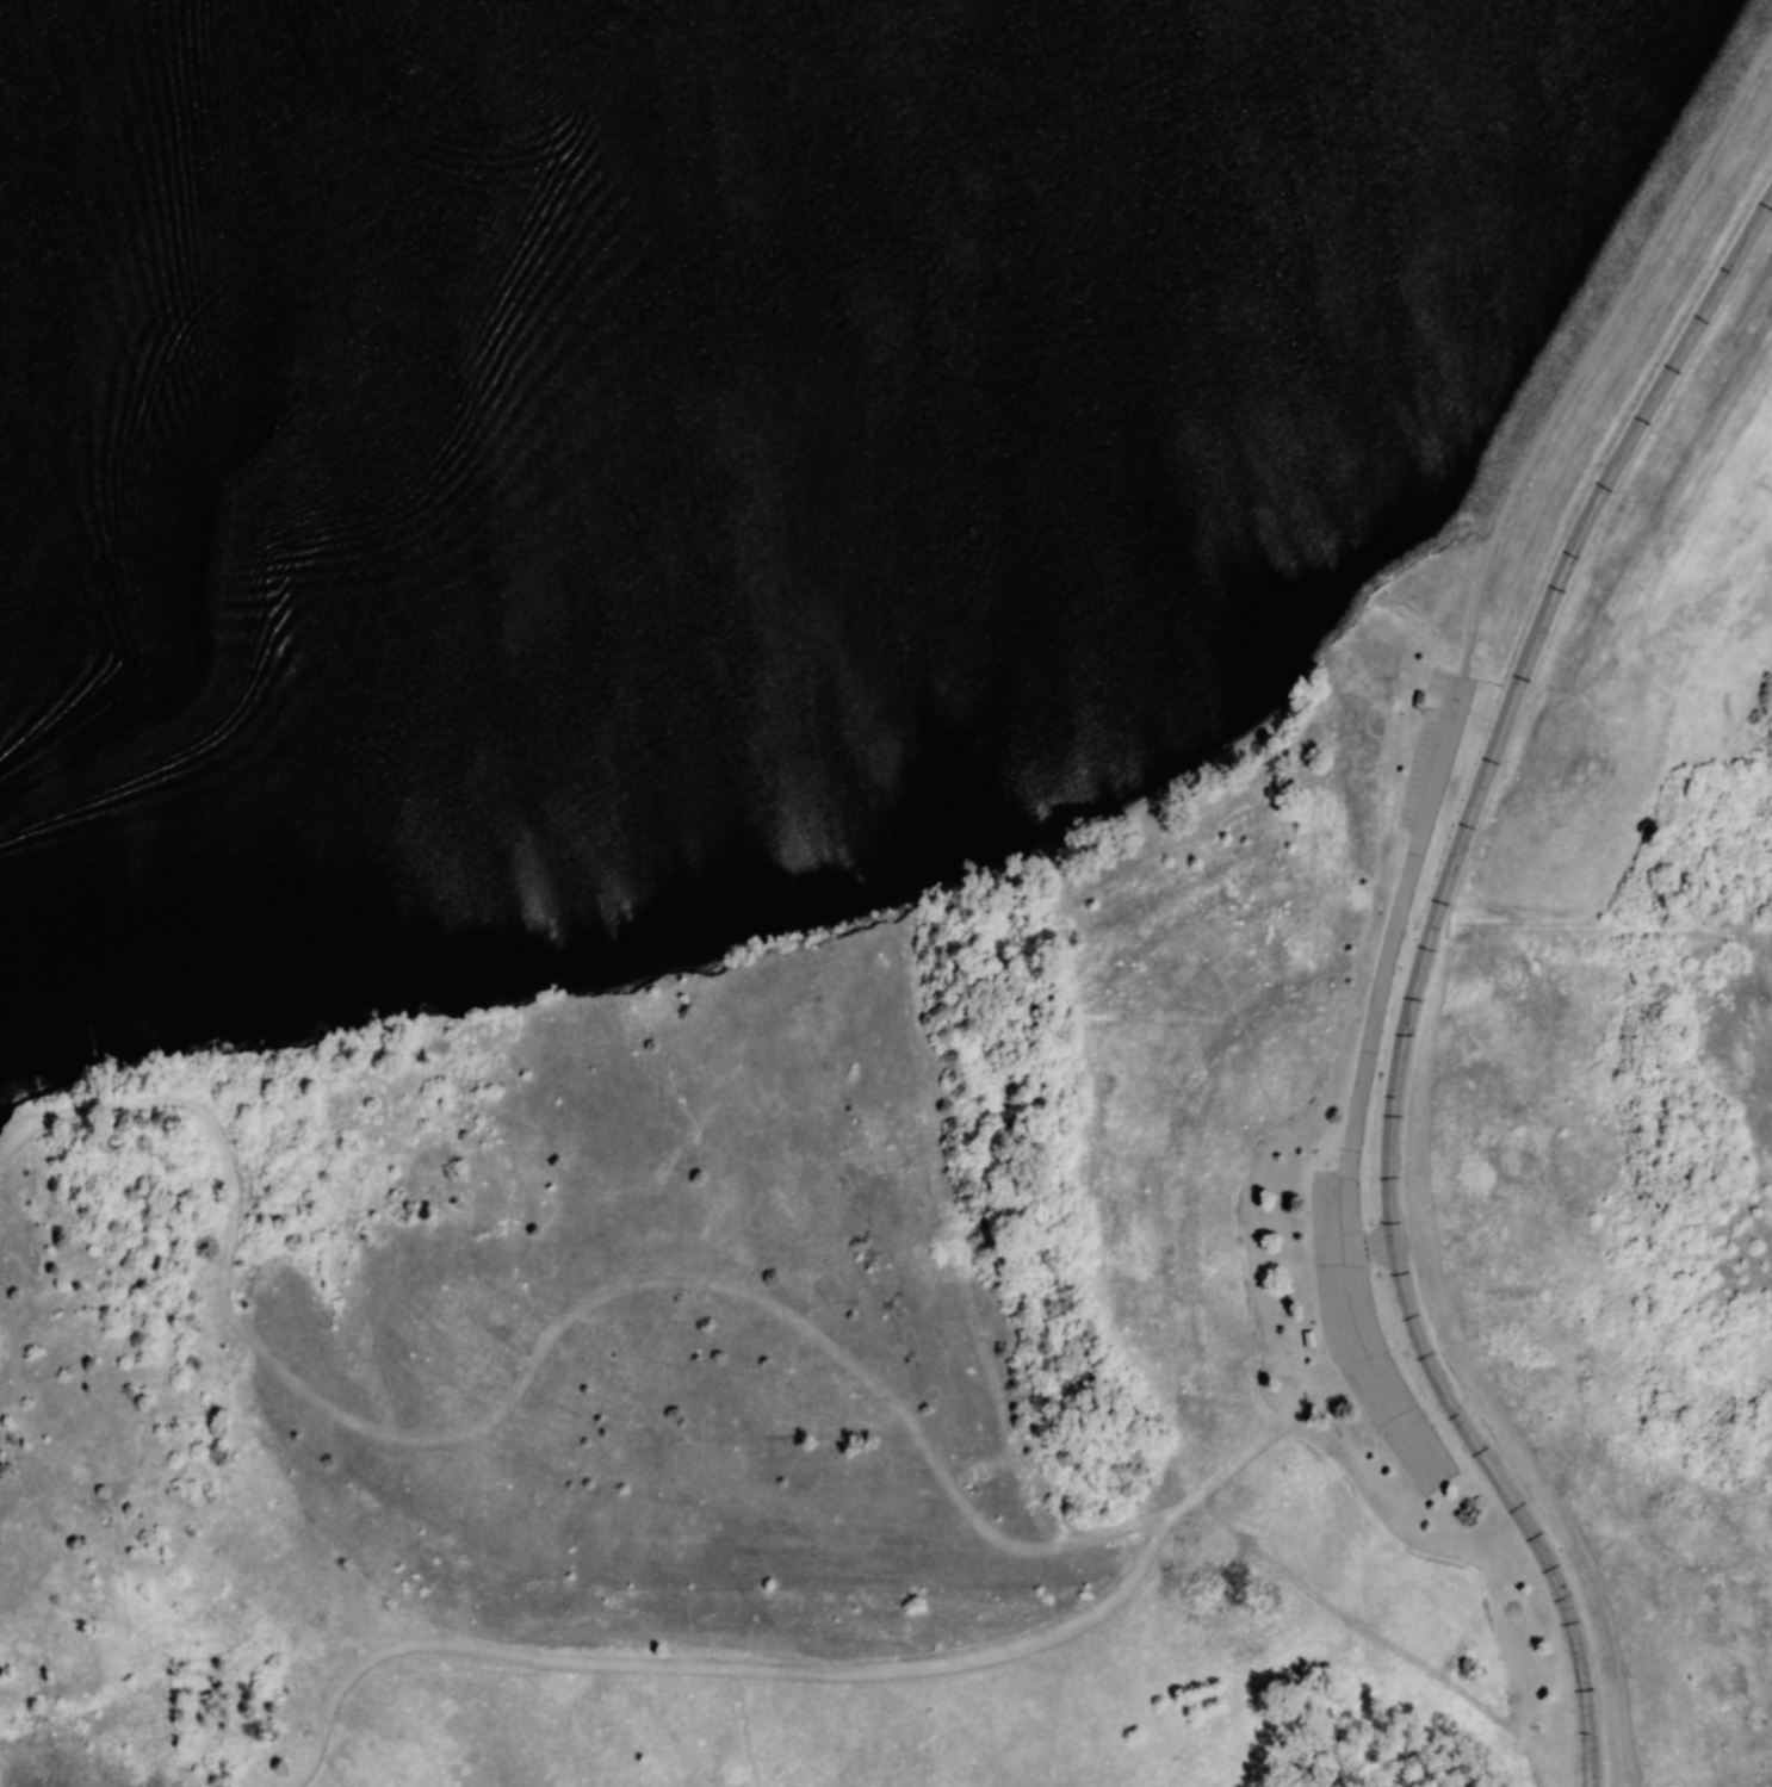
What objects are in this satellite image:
road: (1592, 348)
parking lot: (1429, 750)
park: (777, 865)
road: (1413, 974)
road: (1374, 991)
parking lot: (1364, 1334)
road: (528, 1361)
road: (1370, 1376)
road: (831, 1671)

